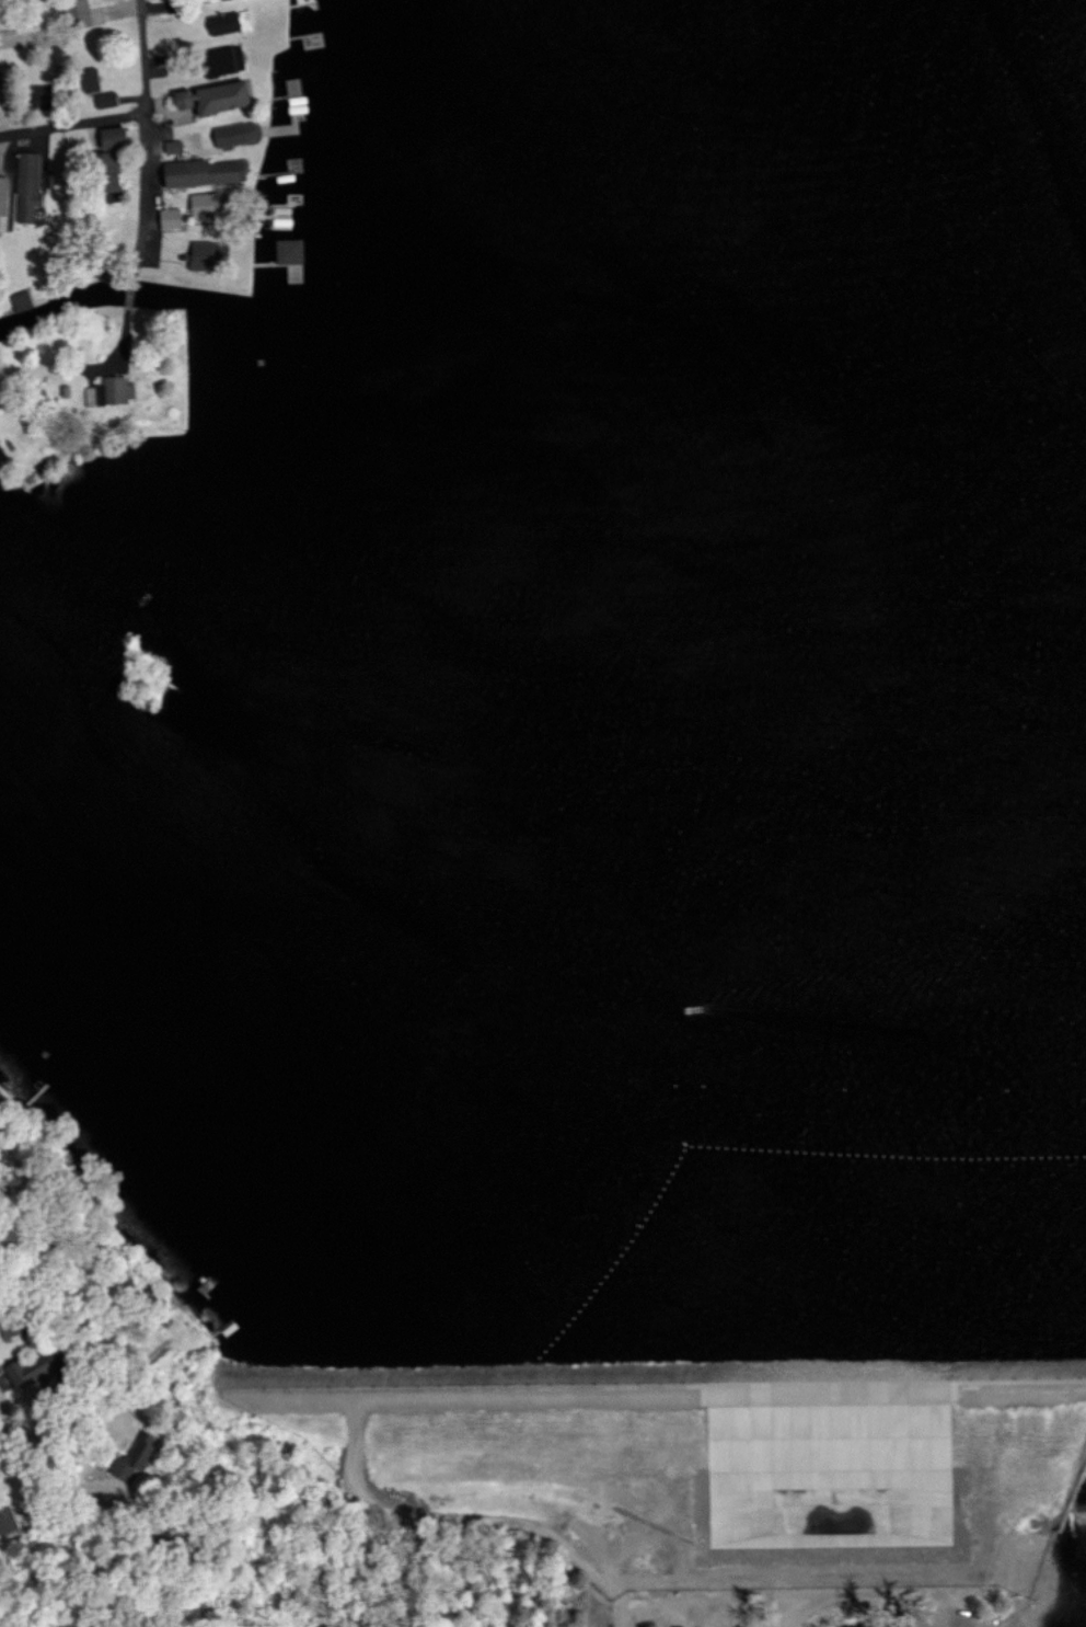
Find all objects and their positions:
building: (74, 13)
building: (220, 23)
building: (220, 60)
building: (88, 80)
building: (210, 98)
building: (103, 100)
road: (73, 121)
building: (232, 135)
building: (104, 160)
building: (201, 173)
building: (25, 186)
road: (143, 197)
building: (2, 202)
building: (203, 206)
building: (167, 218)
building: (287, 251)
building: (205, 253)
building: (19, 301)
building: (107, 392)
river: (938, 525)
building: (19, 1375)
road: (2, 1377)
road: (50, 1455)
building: (132, 1460)
road: (481, 1521)
road: (802, 1552)
road: (669, 1594)

